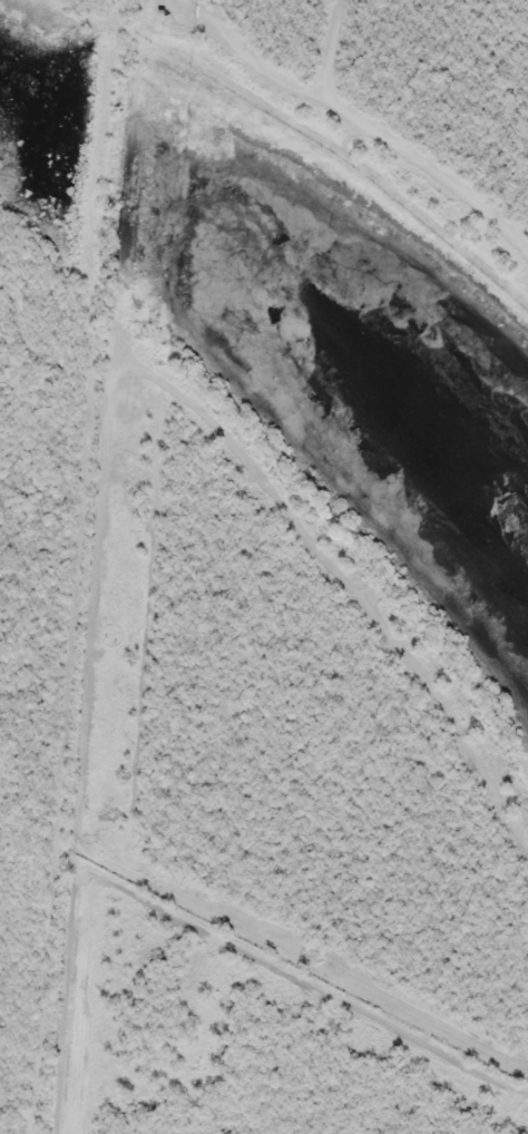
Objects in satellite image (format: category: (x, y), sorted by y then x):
road: (420, 72)
river: (45, 102)
road: (84, 567)

